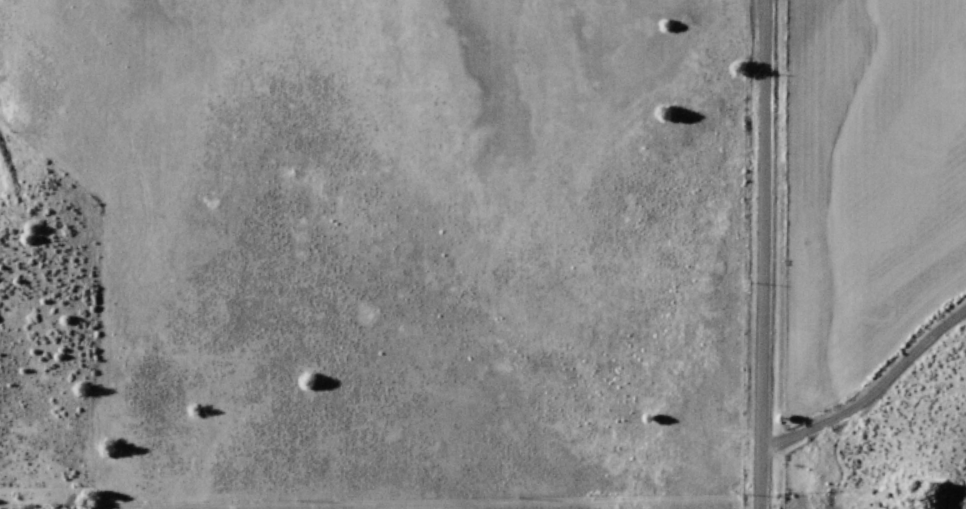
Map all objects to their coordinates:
road: (773, 254)
road: (448, 506)

